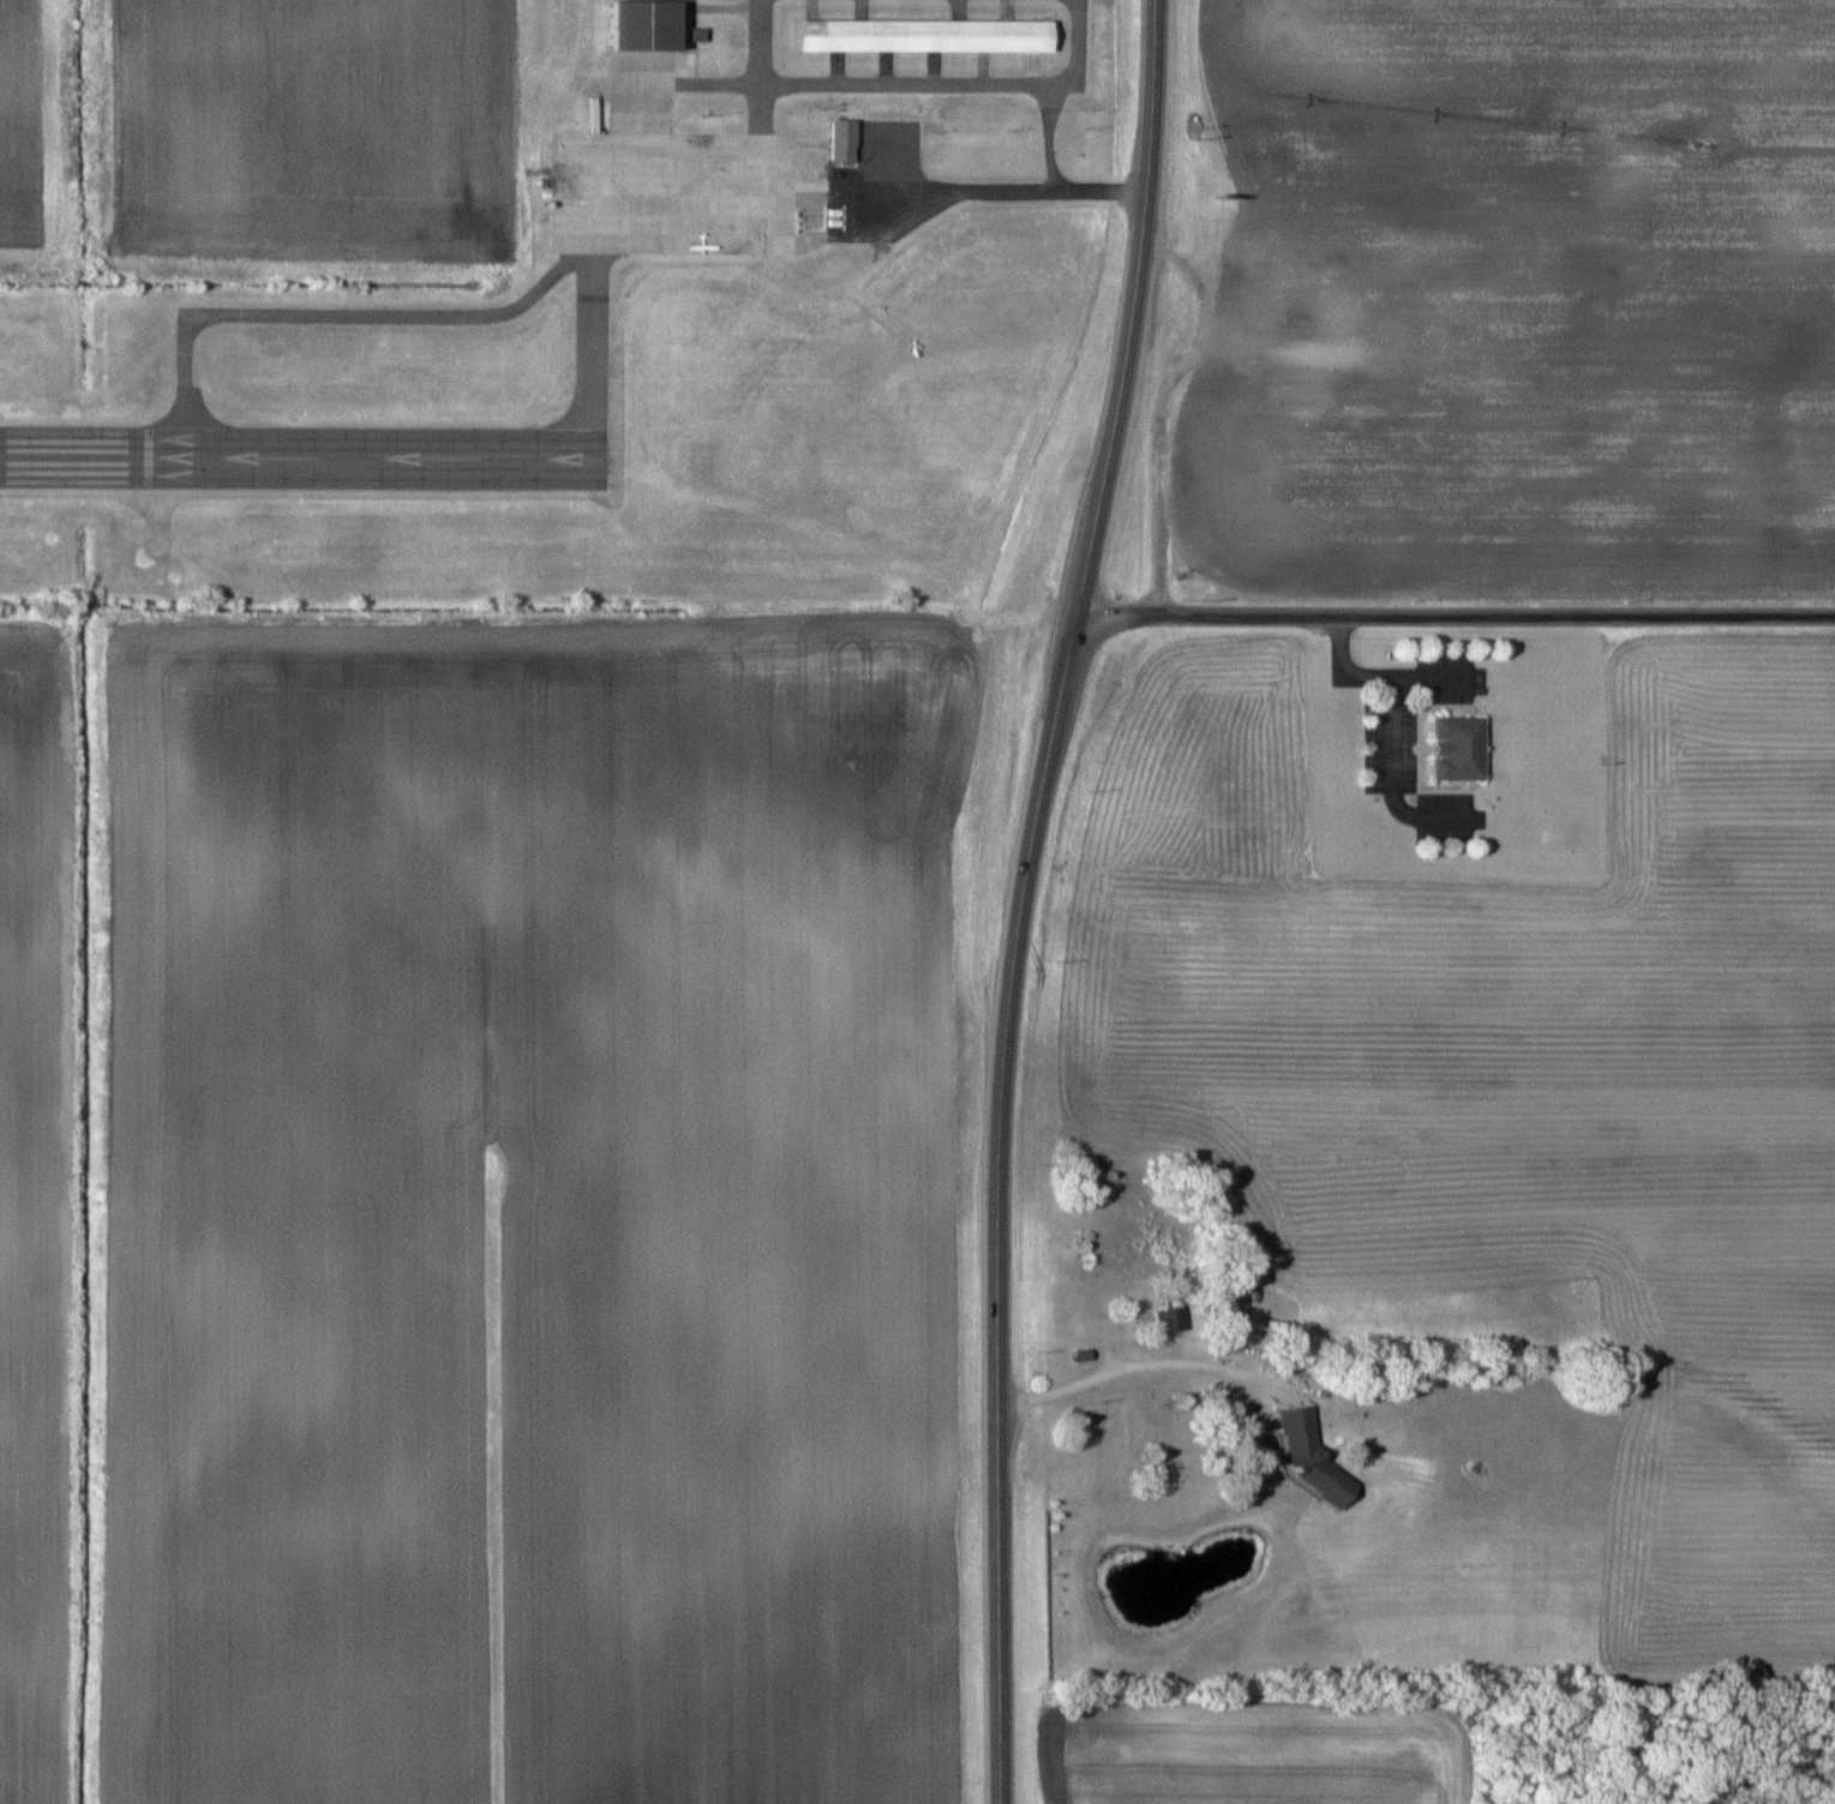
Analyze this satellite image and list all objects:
building: (643, 24)
building: (924, 35)
road: (921, 80)
building: (844, 140)
road: (1063, 169)
road: (1134, 308)
road: (1163, 432)
airport runway: (295, 455)
road: (1119, 612)
road: (1498, 612)
building: (1459, 748)
road: (996, 1205)
building: (1171, 1319)

